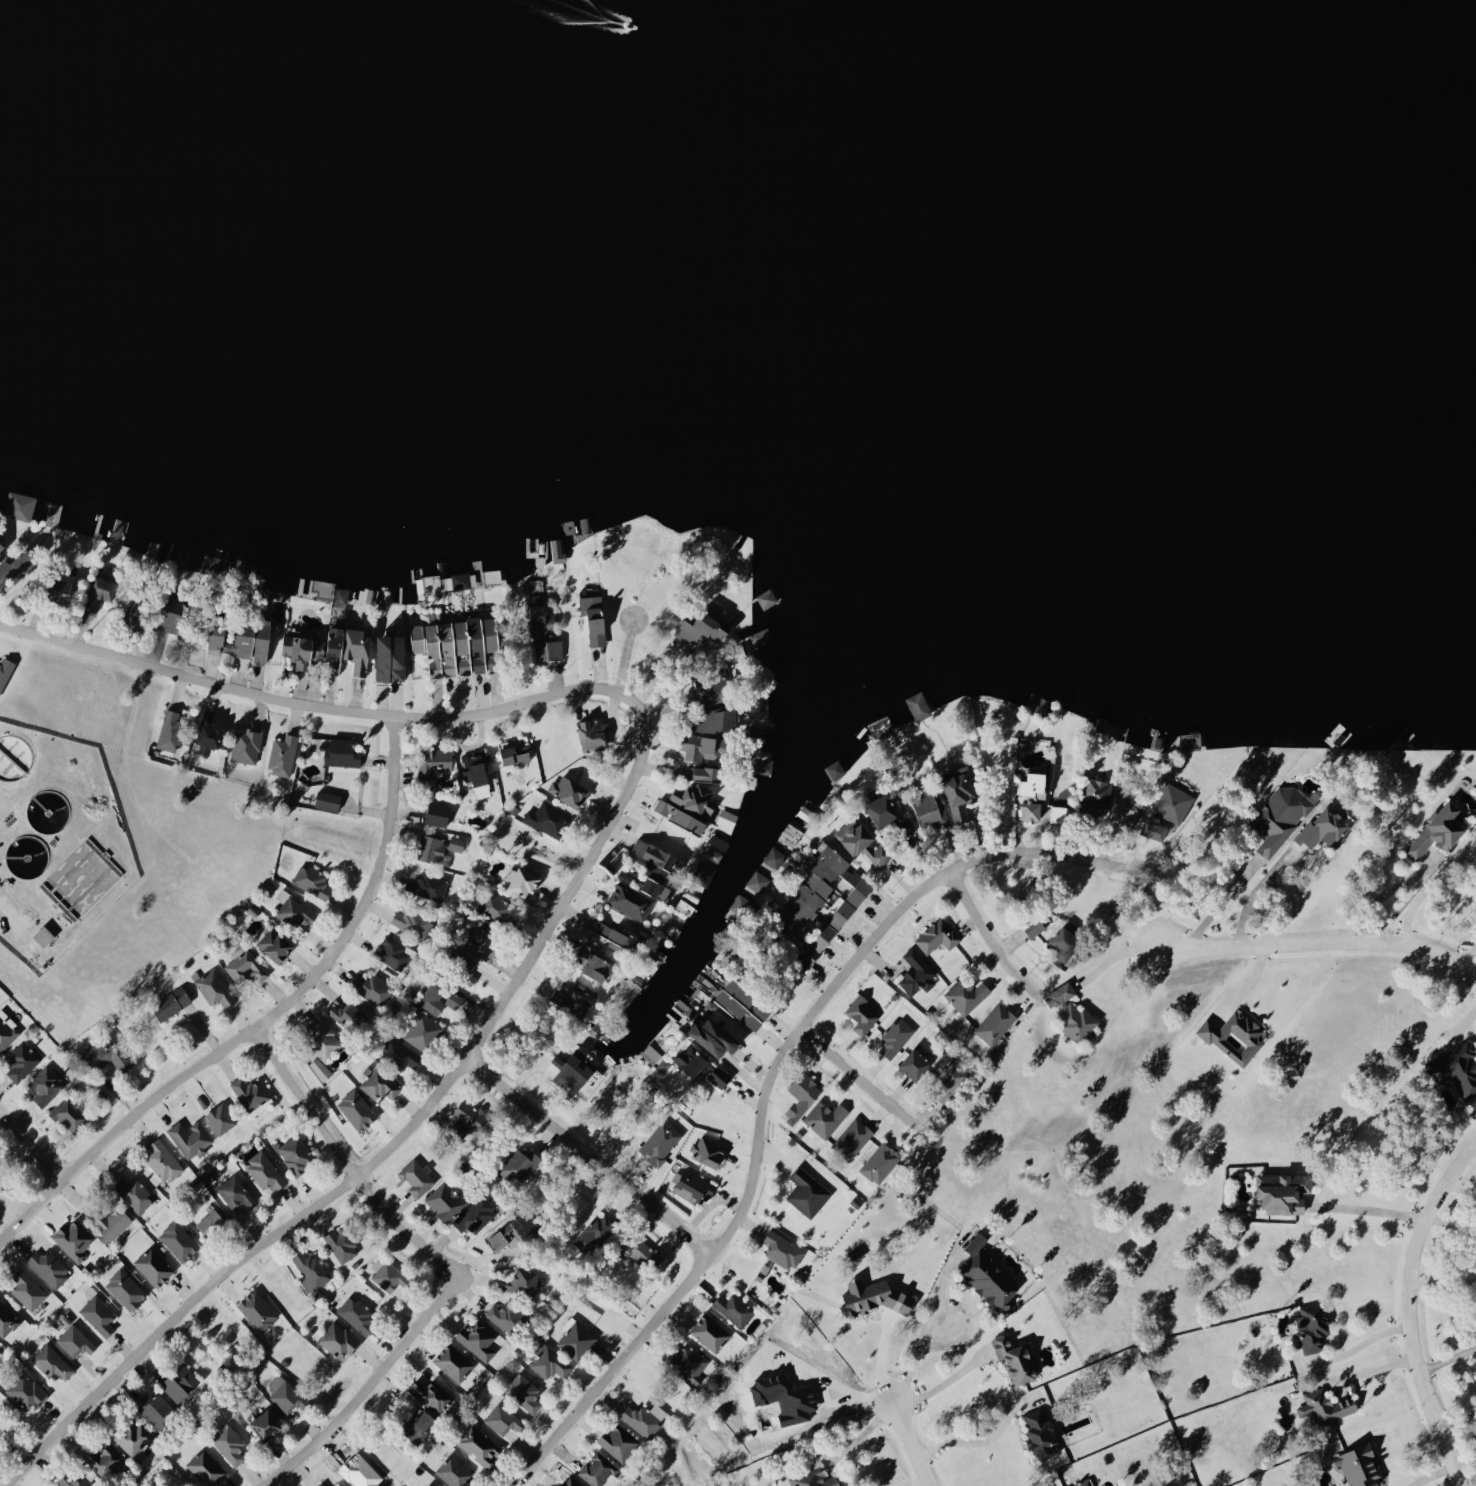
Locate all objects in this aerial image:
building: (20, 505)
building: (1, 544)
building: (558, 551)
building: (182, 559)
building: (15, 565)
building: (461, 580)
building: (62, 587)
building: (103, 587)
building: (341, 595)
building: (91, 604)
building: (134, 610)
building: (171, 614)
building: (595, 617)
building: (702, 628)
building: (545, 633)
building: (216, 635)
building: (251, 639)
building: (460, 645)
building: (303, 649)
building: (335, 650)
building: (359, 650)
building: (391, 657)
building: (5, 671)
building: (714, 686)
building: (919, 705)
building: (717, 719)
building: (170, 729)
building: (209, 732)
building: (594, 733)
building: (247, 745)
building: (702, 746)
building: (342, 753)
building: (283, 754)
building: (516, 754)
building: (435, 760)
building: (765, 765)
building: (476, 768)
building: (836, 769)
building: (707, 772)
building: (569, 790)
building: (960, 790)
building: (1034, 795)
building: (1097, 795)
building: (328, 800)
building: (1173, 802)
building: (687, 807)
building: (930, 808)
building: (886, 810)
building: (438, 813)
road: (1035, 813)
building: (1281, 817)
building: (548, 818)
building: (727, 818)
building: (1328, 826)
building: (1155, 827)
building: (1439, 830)
building: (862, 842)
building: (457, 844)
building: (432, 848)
building: (712, 854)
building: (774, 857)
building: (656, 866)
road: (581, 873)
building: (704, 873)
building: (312, 881)
building: (524, 881)
building: (817, 881)
building: (757, 884)
building: (428, 885)
building: (857, 885)
road: (370, 889)
road: (1136, 893)
road: (1388, 893)
building: (631, 900)
road: (1219, 901)
building: (293, 909)
building: (499, 909)
building: (413, 922)
building: (832, 925)
building: (1033, 925)
road: (984, 930)
building: (613, 933)
building: (43, 935)
road: (1113, 935)
building: (938, 936)
building: (483, 941)
road: (1312, 941)
building: (273, 943)
building: (1065, 944)
building: (807, 956)
building: (246, 966)
building: (598, 966)
building: (468, 972)
building: (917, 974)
road: (1255, 984)
building: (214, 988)
building: (371, 989)
building: (966, 995)
building: (435, 997)
building: (454, 1000)
building: (571, 1000)
building: (171, 1002)
building: (744, 1003)
building: (346, 1014)
building: (1071, 1014)
building: (862, 1015)
building: (995, 1023)
building: (7, 1031)
building: (422, 1032)
building: (715, 1036)
building: (1235, 1036)
building: (323, 1038)
building: (895, 1038)
road: (1072, 1049)
building: (106, 1052)
building: (399, 1055)
building: (693, 1060)
building: (21, 1061)
building: (915, 1063)
building: (664, 1064)
building: (320, 1069)
building: (1457, 1069)
building: (575, 1071)
road: (855, 1074)
building: (719, 1077)
building: (948, 1082)
building: (379, 1084)
building: (45, 1085)
building: (252, 1094)
road: (760, 1095)
building: (801, 1097)
building: (69, 1114)
building: (471, 1115)
building: (221, 1118)
building: (825, 1118)
road: (122, 1125)
building: (190, 1138)
building: (853, 1138)
building: (661, 1142)
road: (32, 1145)
building: (708, 1151)
building: (296, 1153)
road: (590, 1153)
building: (163, 1161)
building: (880, 1163)
building: (518, 1165)
building: (264, 1171)
building: (417, 1178)
building: (694, 1185)
building: (235, 1191)
building: (808, 1192)
building: (1284, 1192)
building: (134, 1194)
building: (445, 1201)
road: (1371, 1209)
building: (476, 1215)
building: (110, 1221)
building: (211, 1223)
building: (512, 1233)
building: (595, 1233)
building: (74, 1239)
building: (179, 1241)
building: (342, 1244)
building: (783, 1250)
building: (636, 1251)
road: (443, 1259)
building: (154, 1266)
building: (50, 1268)
building: (312, 1271)
building: (387, 1275)
building: (989, 1275)
building: (522, 1281)
building: (27, 1290)
building: (875, 1297)
building: (735, 1309)
building: (257, 1311)
building: (356, 1314)
building: (99, 1315)
road: (1417, 1315)
building: (505, 1316)
building: (7, 1320)
building: (1313, 1326)
building: (710, 1333)
road: (970, 1335)
road: (1370, 1338)
building: (338, 1339)
building: (478, 1340)
building: (75, 1341)
building: (577, 1341)
road: (1450, 1358)
road: (882, 1359)
building: (1016, 1359)
building: (688, 1360)
building: (52, 1362)
building: (454, 1362)
building: (550, 1362)
road: (1377, 1368)
road: (941, 1381)
building: (179, 1382)
building: (26, 1392)
building: (524, 1392)
building: (285, 1395)
building: (432, 1395)
building: (1327, 1406)
building: (155, 1409)
building: (503, 1419)
building: (640, 1420)
building: (266, 1425)
building: (418, 1425)
building: (1042, 1434)
road: (861, 1435)
building: (132, 1437)
road: (982, 1440)
building: (618, 1442)
building: (229, 1444)
road: (912, 1444)
building: (480, 1446)
building: (104, 1458)
building: (1361, 1465)
building: (207, 1467)
building: (598, 1470)
building: (454, 1472)
road: (1436, 1473)
building: (74, 1479)
building: (813, 1479)
building: (1085, 1483)
building: (321, 1484)
building: (429, 1484)
building: (337, 1485)

